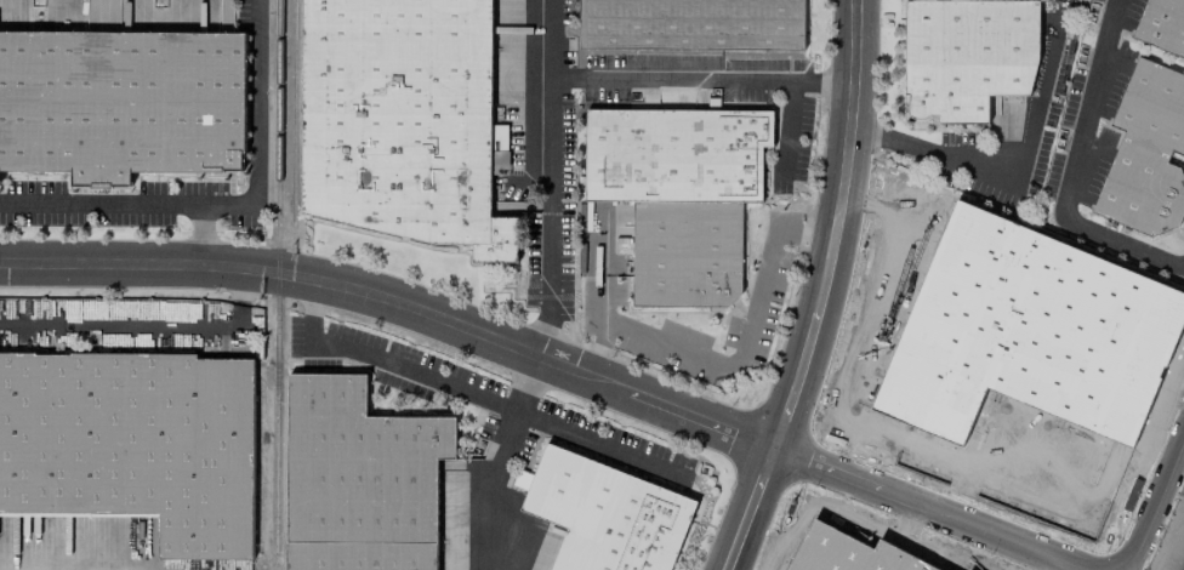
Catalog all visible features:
building: (690, 23)
building: (1162, 24)
building: (967, 55)
road: (701, 81)
building: (120, 103)
railway: (292, 110)
building: (400, 120)
road: (789, 129)
building: (1145, 152)
road: (1070, 172)
road: (1007, 173)
road: (551, 178)
building: (678, 193)
road: (230, 203)
road: (832, 227)
road: (199, 233)
railway: (274, 279)
road: (602, 292)
road: (313, 296)
road: (144, 323)
road: (748, 340)
road: (843, 361)
road: (553, 363)
road: (399, 364)
road: (526, 383)
building: (132, 441)
road: (505, 441)
road: (599, 443)
building: (358, 479)
road: (1155, 505)
road: (748, 508)
building: (605, 514)
road: (489, 521)
road: (907, 521)
road: (825, 529)
road: (894, 554)
road: (846, 555)

